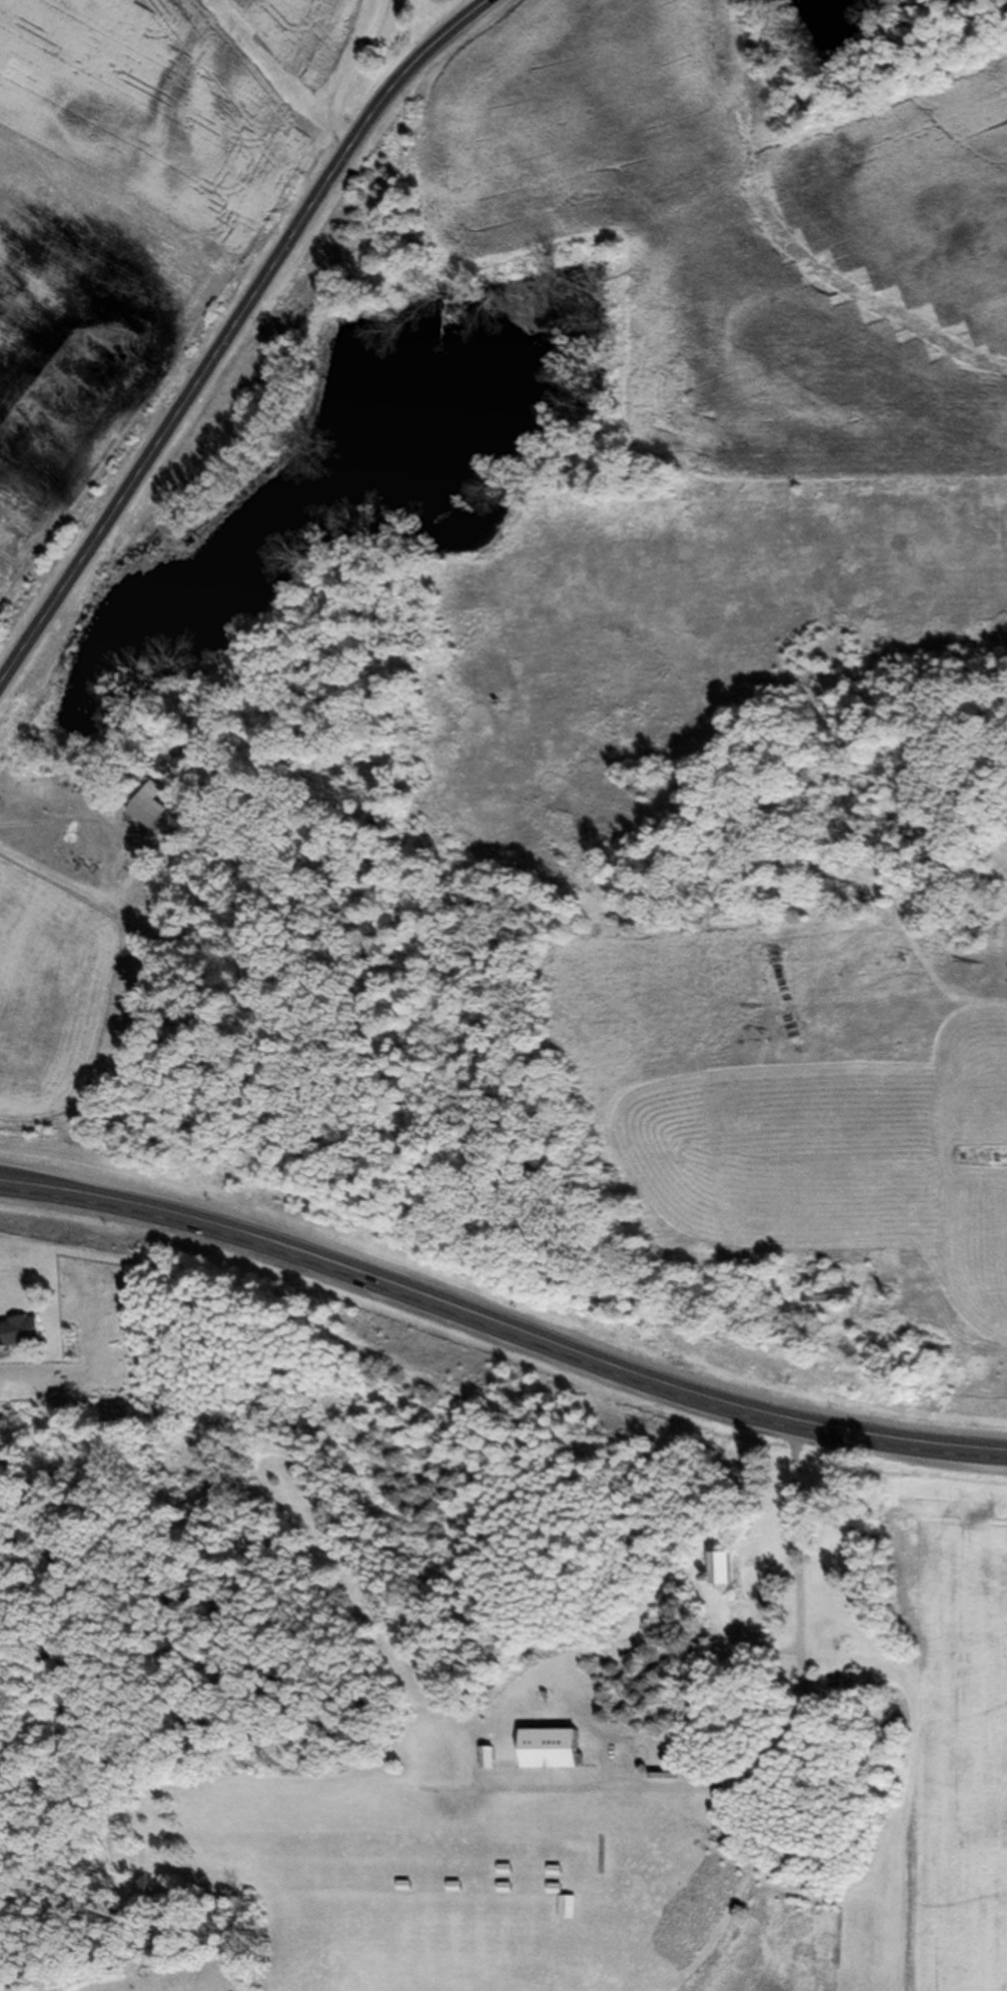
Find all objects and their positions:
road: (345, 72)
road: (229, 330)
building: (146, 817)
building: (830, 1298)
road: (501, 1326)
building: (19, 1336)
building: (718, 1574)
road: (796, 1691)
building: (546, 1754)

